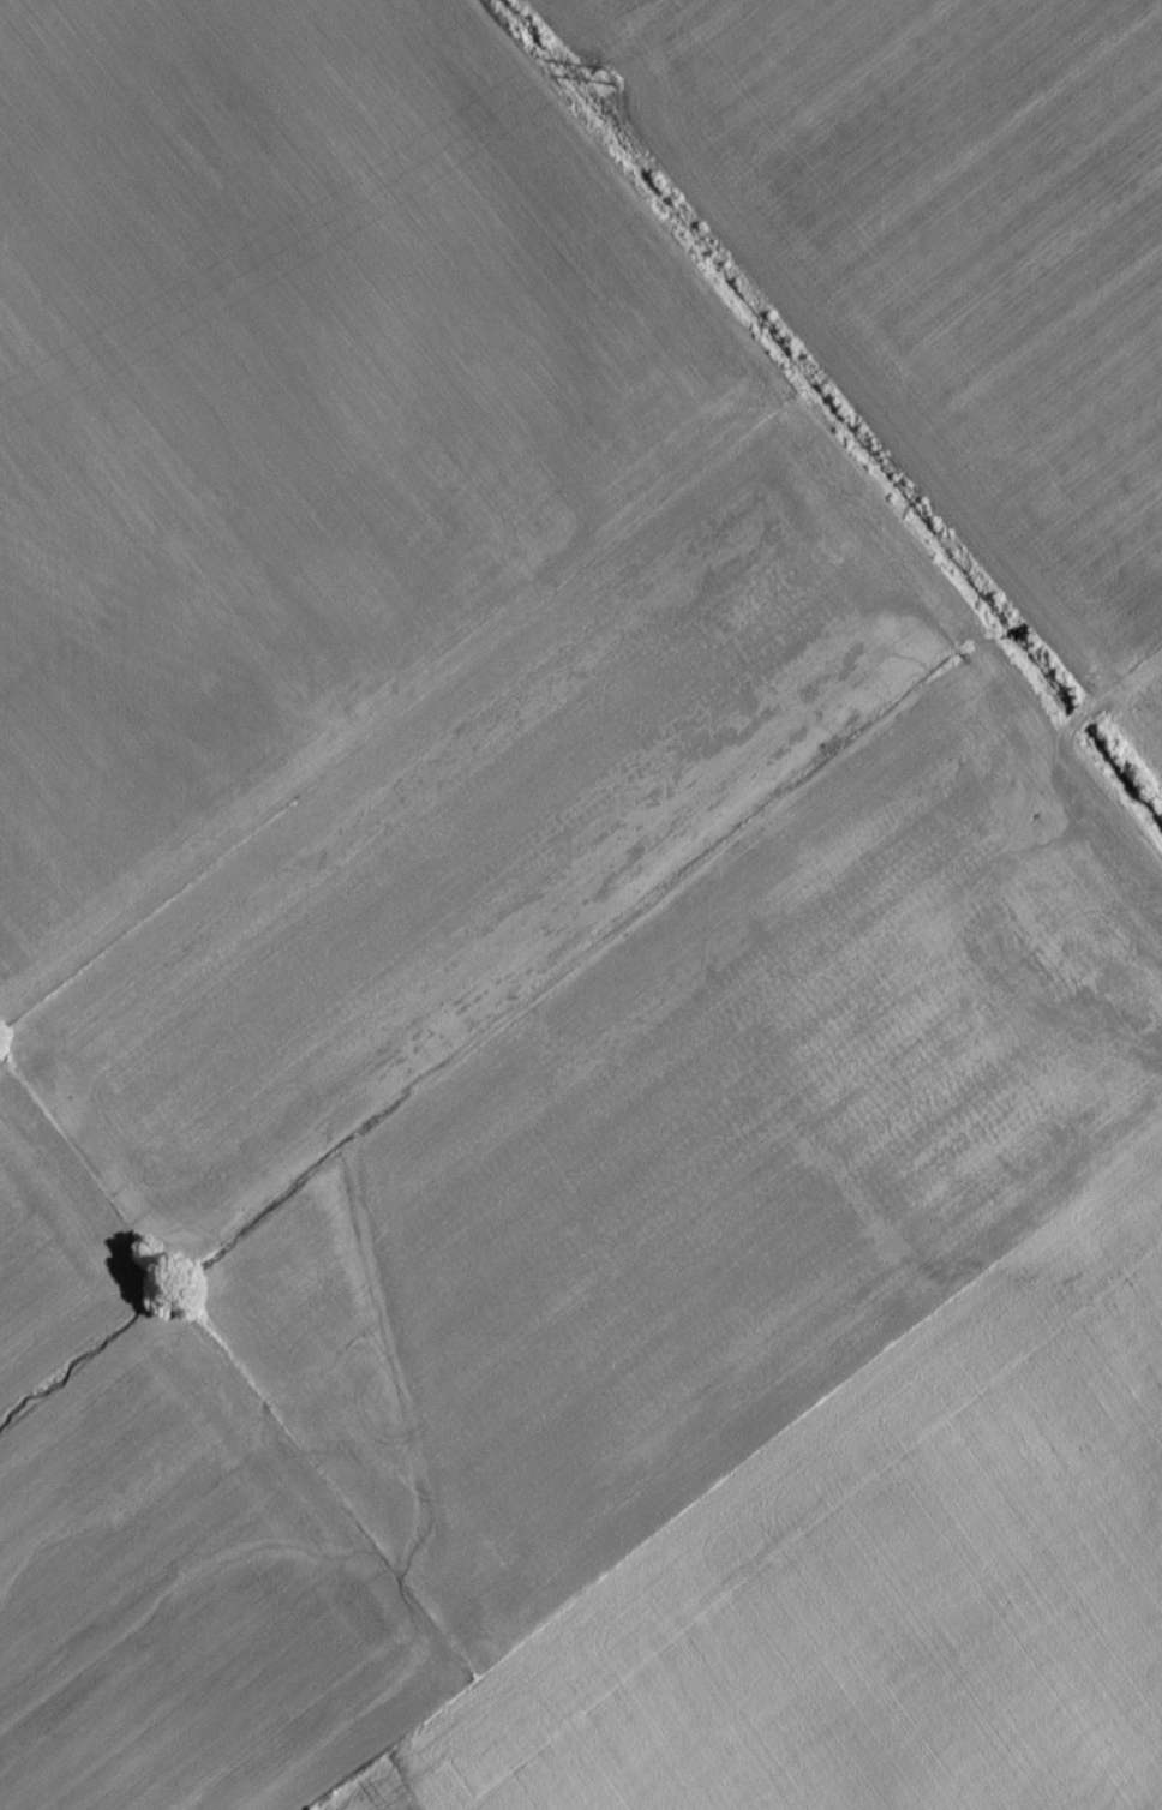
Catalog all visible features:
power tower: (618, 85)

